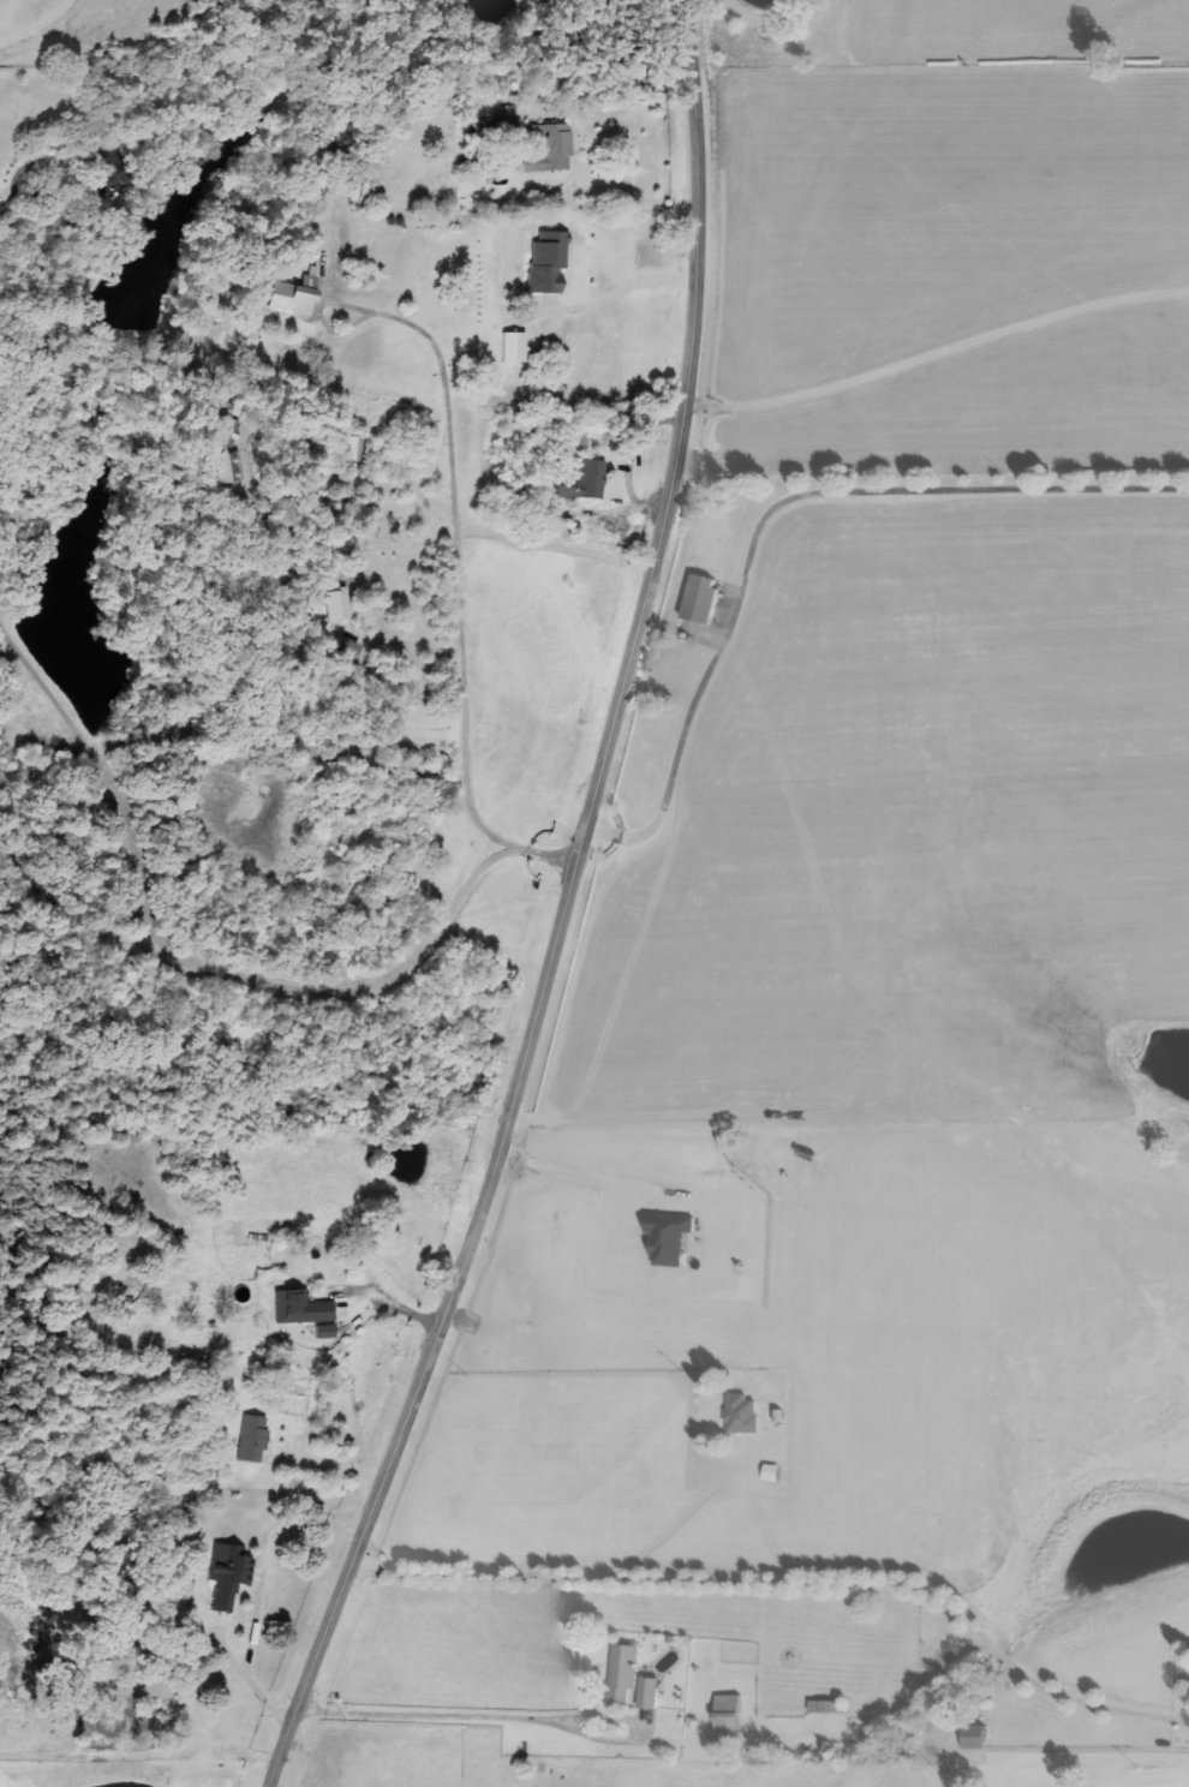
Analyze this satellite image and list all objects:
building: (549, 150)
building: (109, 161)
building: (546, 263)
building: (294, 297)
building: (513, 346)
building: (227, 431)
building: (353, 448)
building: (227, 467)
building: (586, 480)
road: (455, 582)
building: (706, 598)
building: (337, 604)
building: (348, 650)
road: (573, 909)
road: (184, 961)
road: (582, 1173)
building: (671, 1237)
road: (392, 1302)
building: (300, 1308)
building: (745, 1414)
building: (252, 1438)
building: (227, 1576)
road: (797, 1580)
building: (626, 1673)
building: (651, 1692)
building: (830, 1707)
building: (734, 1714)
building: (980, 1738)

